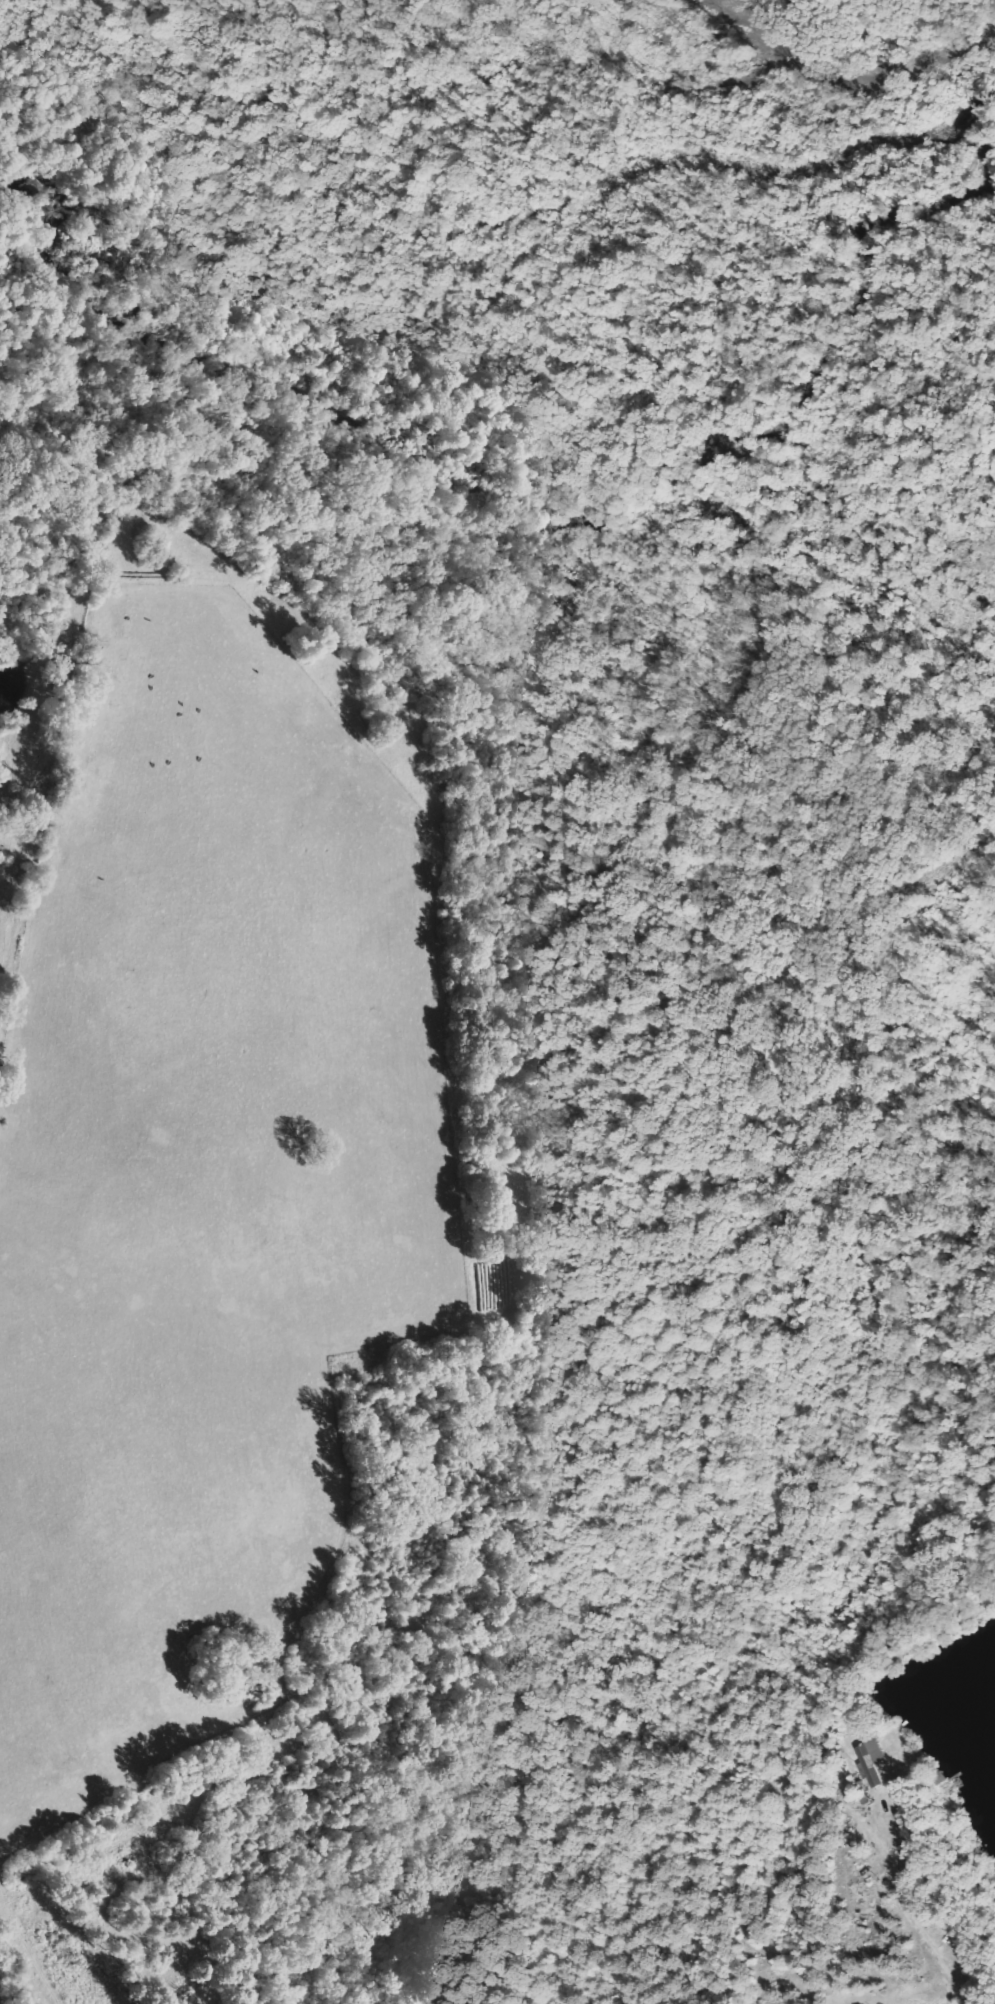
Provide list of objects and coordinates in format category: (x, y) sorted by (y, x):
building: (869, 1758)
road: (898, 1913)

